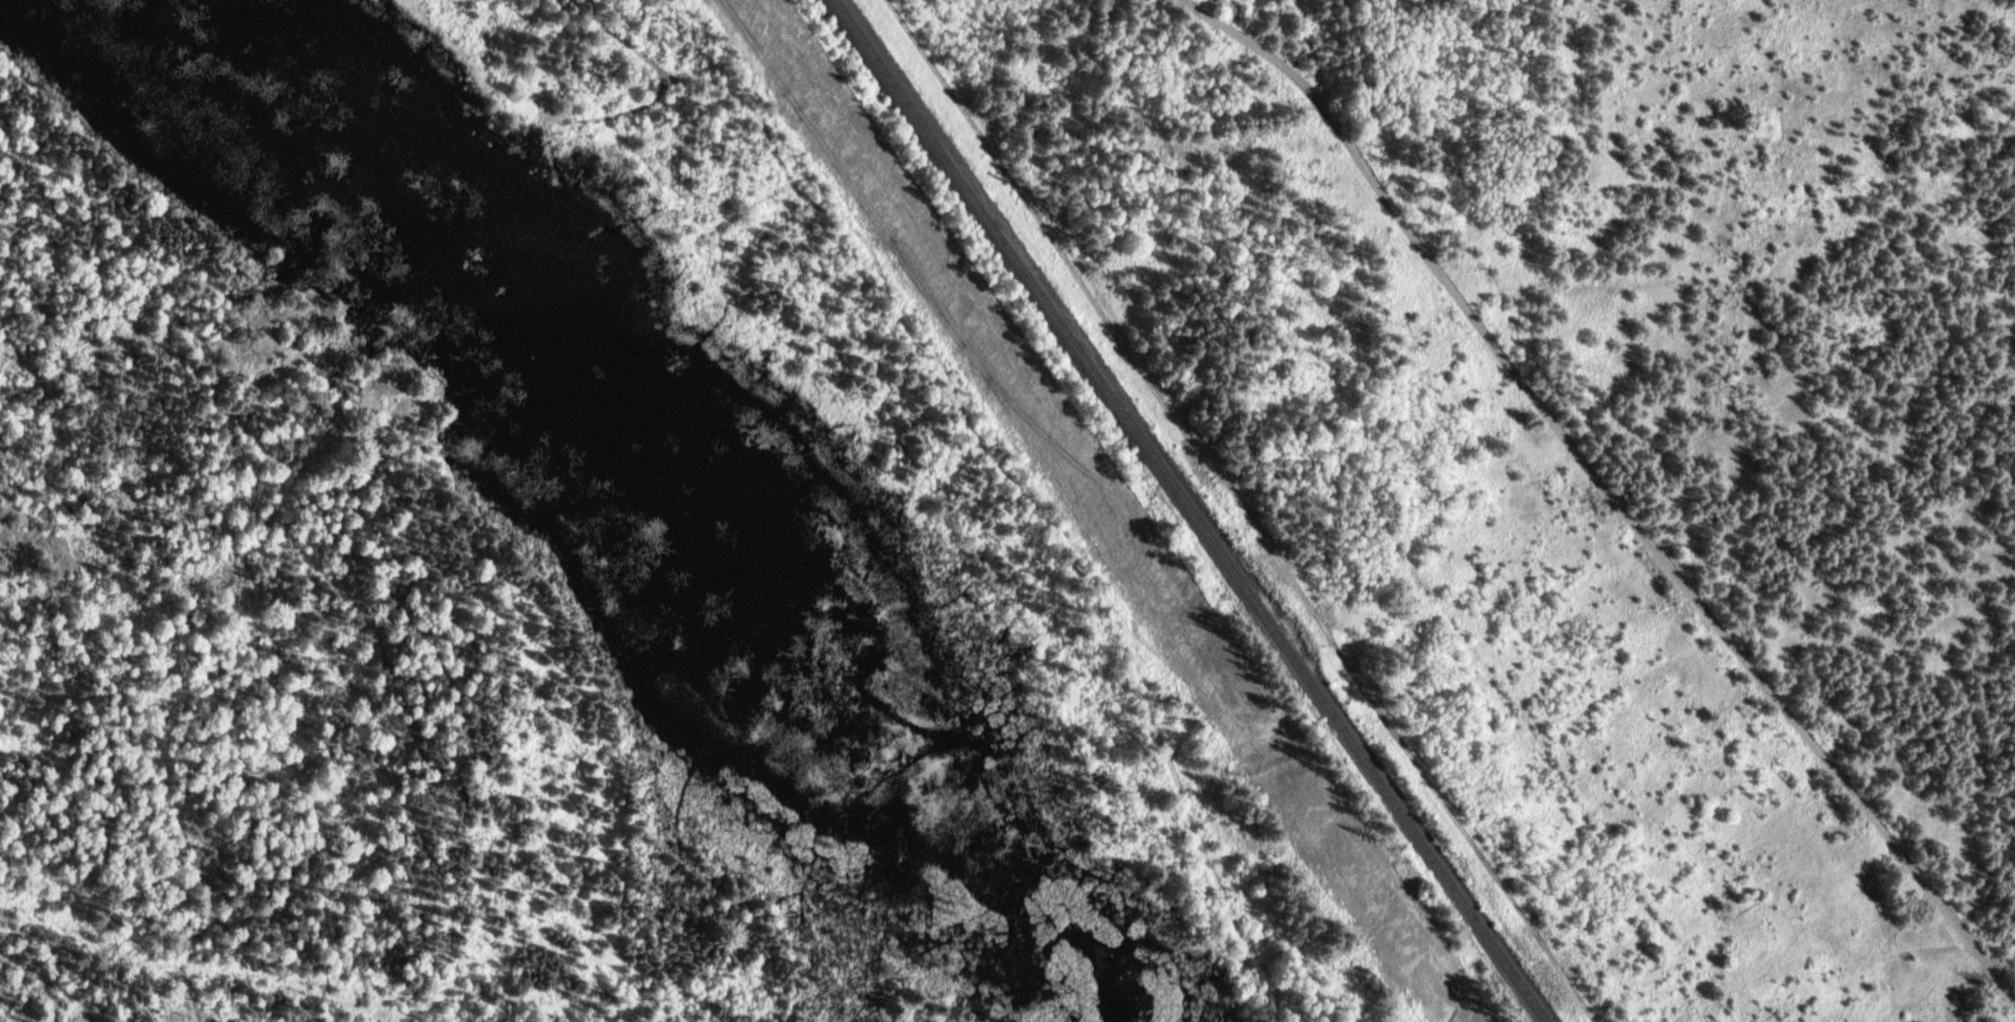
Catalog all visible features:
road: (1259, 47)
road: (1001, 454)
road: (1378, 500)
road: (1253, 506)
railway: (1196, 512)
road: (1631, 518)
road: (113, 983)
road: (361, 995)

